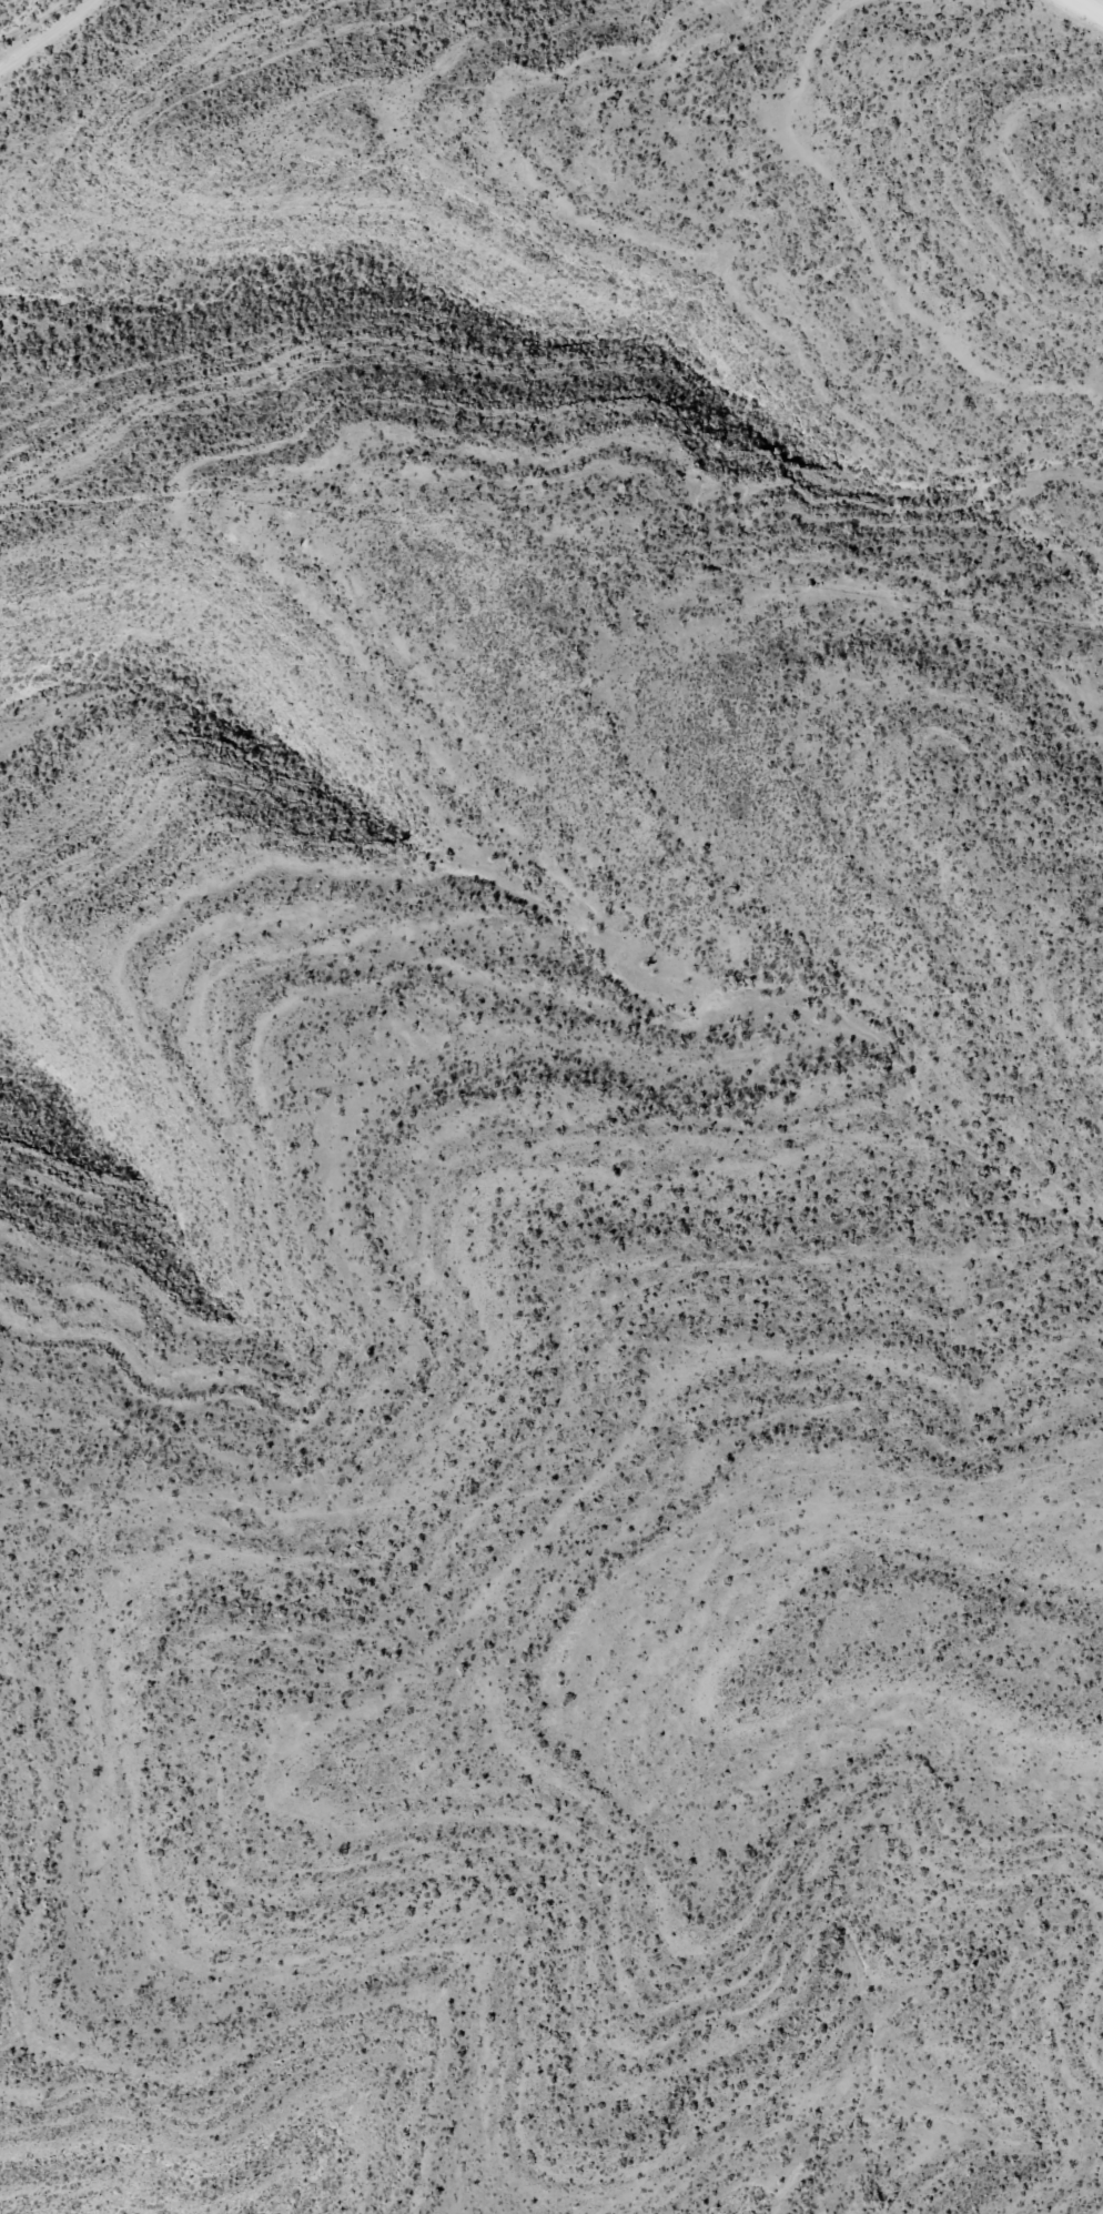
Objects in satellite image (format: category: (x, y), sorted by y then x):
road: (1073, 27)
road: (62, 39)

